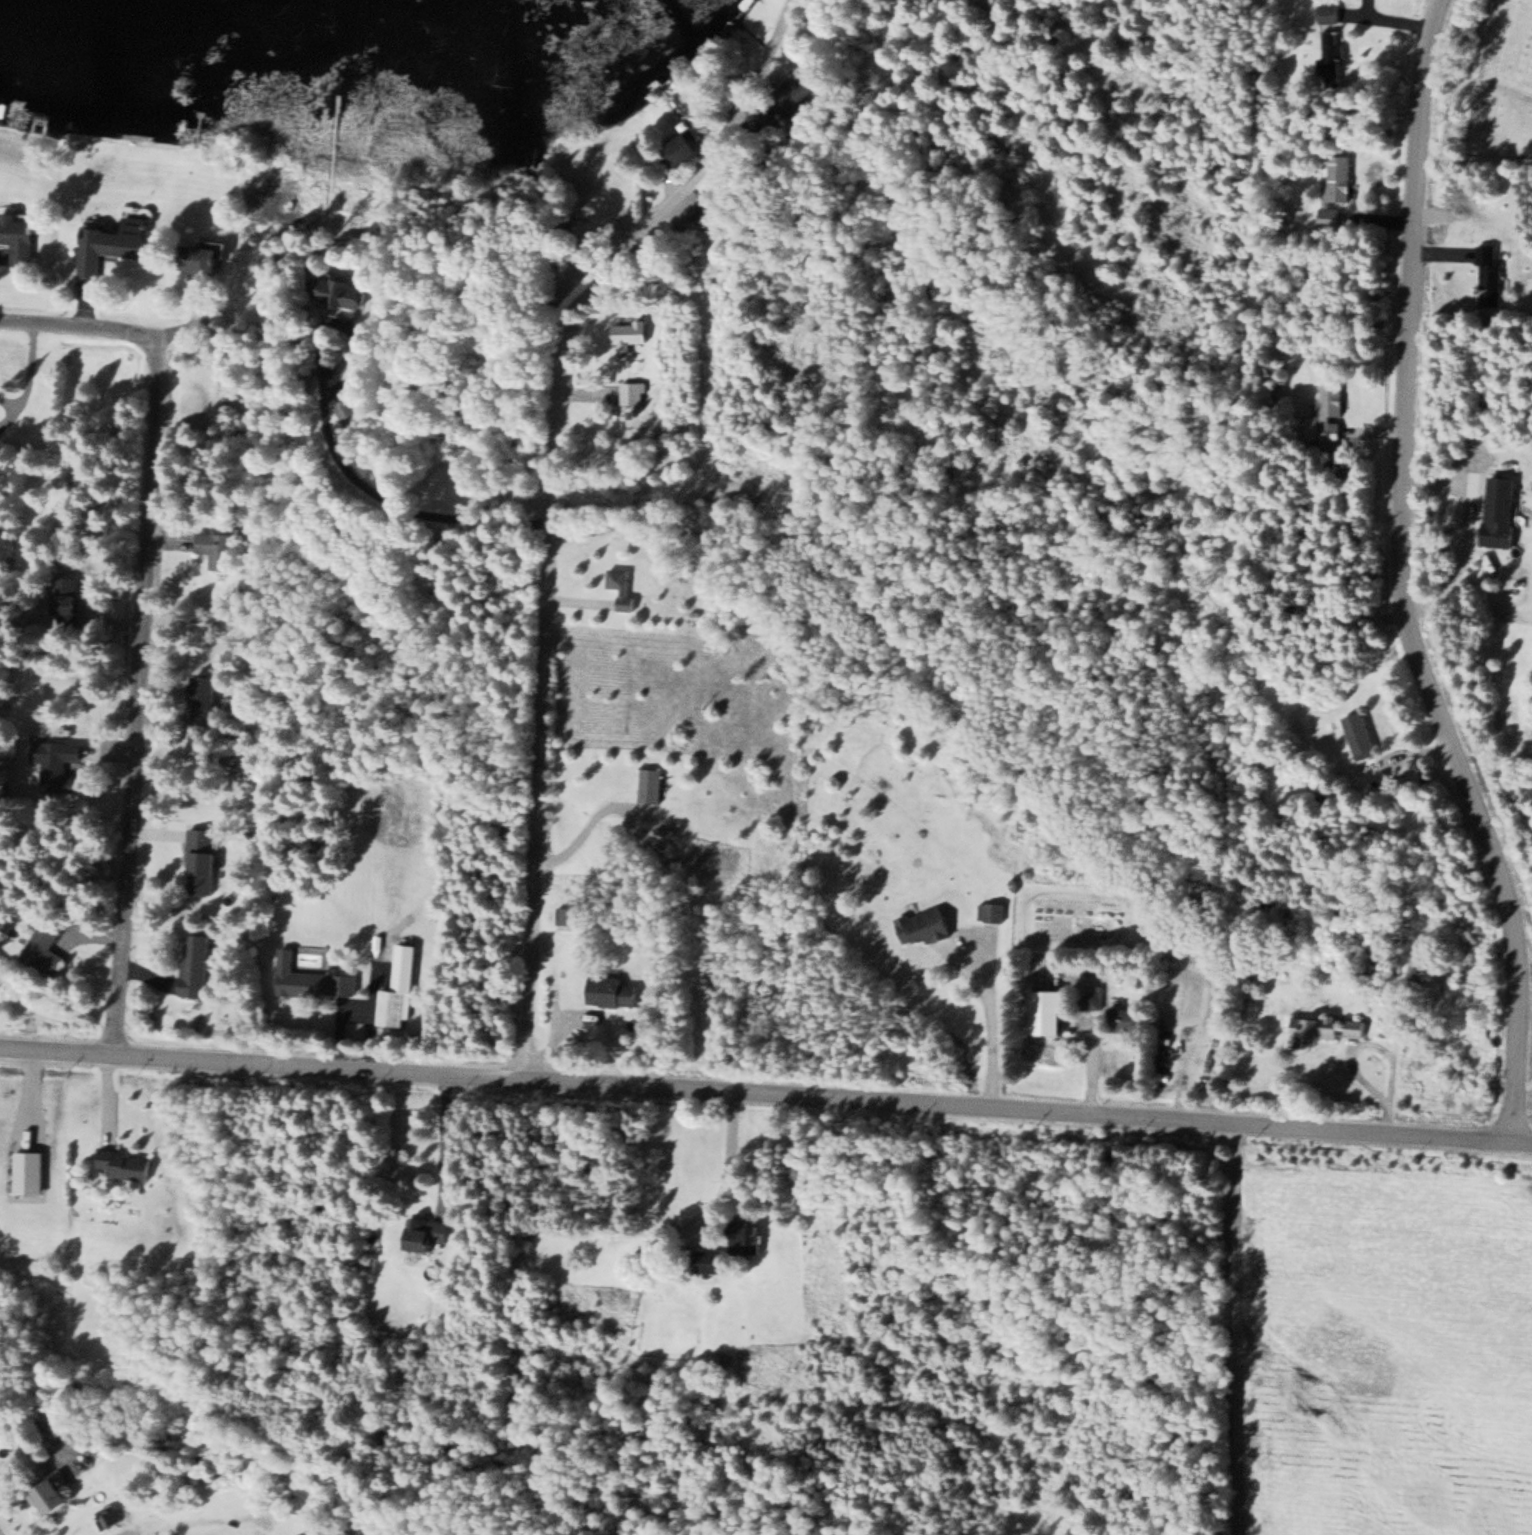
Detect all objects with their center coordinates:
building: (1329, 12)
building: (673, 111)
building: (1335, 187)
building: (20, 237)
building: (116, 245)
building: (203, 262)
building: (1488, 276)
building: (327, 288)
building: (356, 295)
road: (487, 330)
road: (80, 332)
building: (630, 332)
building: (631, 392)
building: (350, 410)
building: (1330, 410)
road: (556, 505)
building: (1500, 510)
building: (223, 549)
road: (1403, 581)
building: (623, 587)
building: (68, 601)
road: (142, 700)
building: (206, 700)
building: (1364, 734)
building: (59, 763)
building: (649, 785)
building: (203, 861)
building: (990, 912)
building: (567, 915)
building: (925, 926)
building: (48, 949)
building: (195, 965)
building: (313, 979)
building: (400, 988)
building: (611, 991)
building: (1125, 1016)
building: (1324, 1027)
road: (766, 1097)
building: (123, 1164)
building: (429, 1232)
building: (751, 1240)
building: (68, 1433)
building: (275, 1495)
building: (53, 1496)

